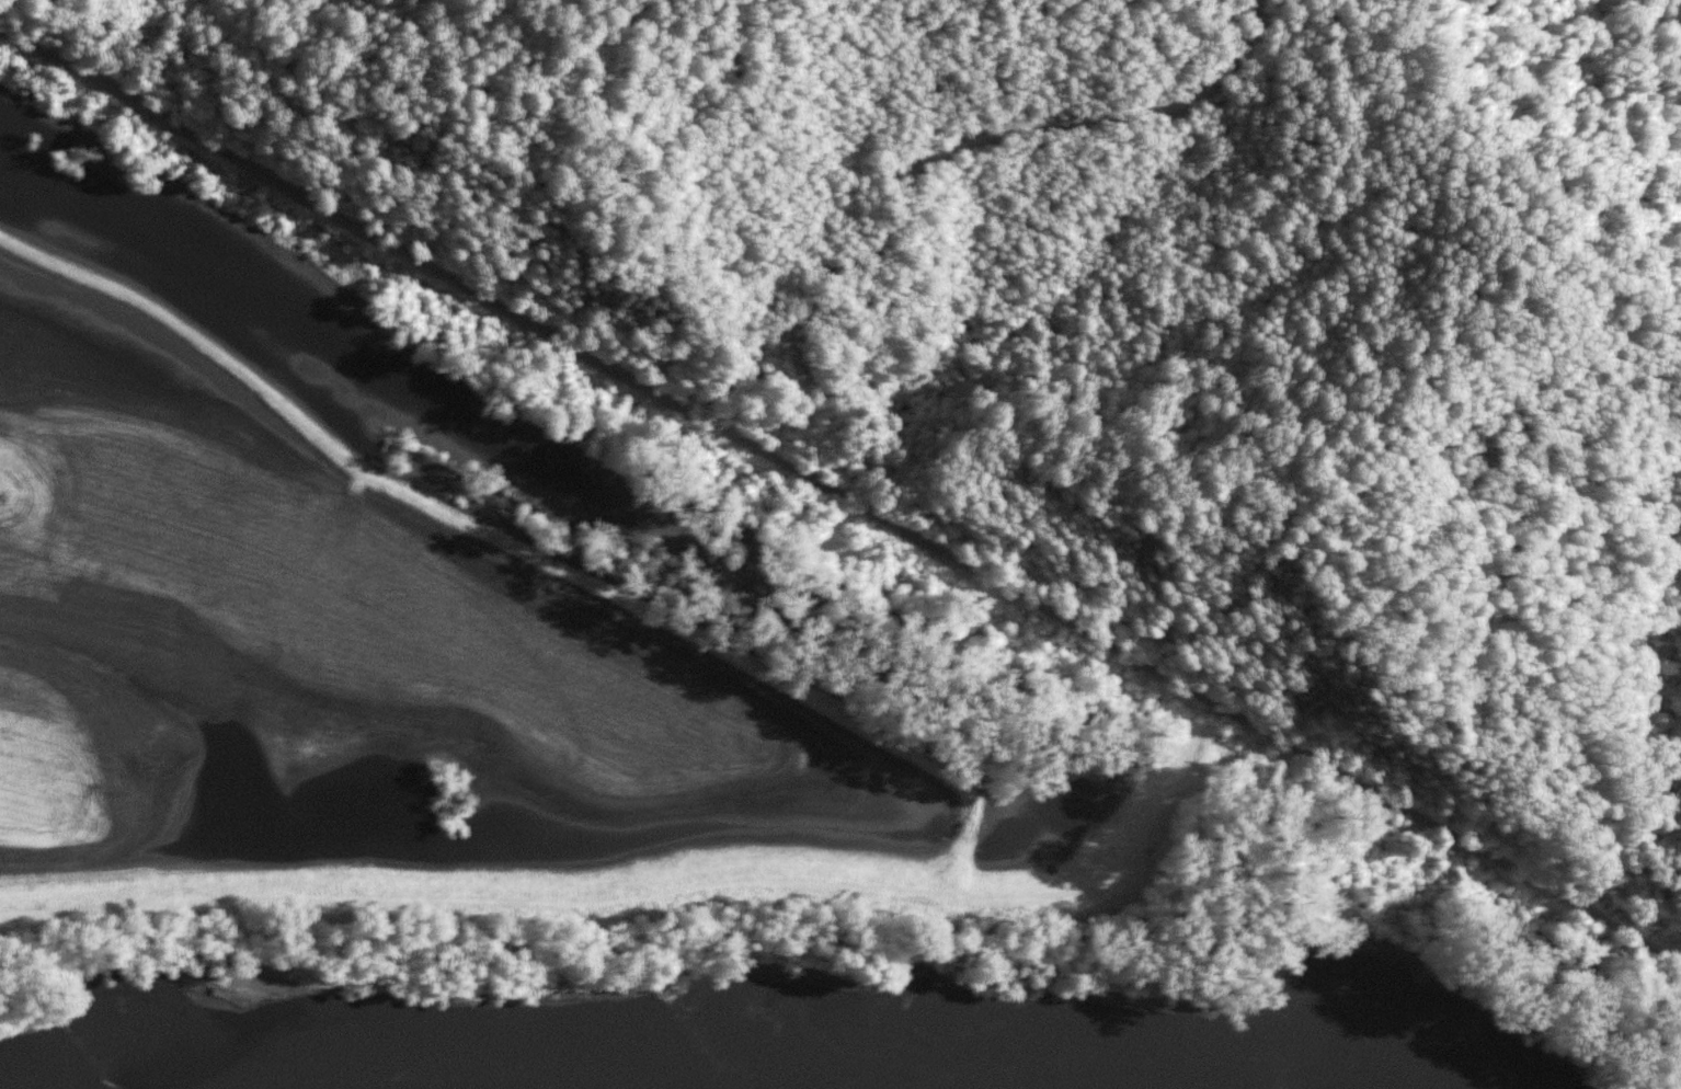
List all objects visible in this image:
road: (840, 494)

